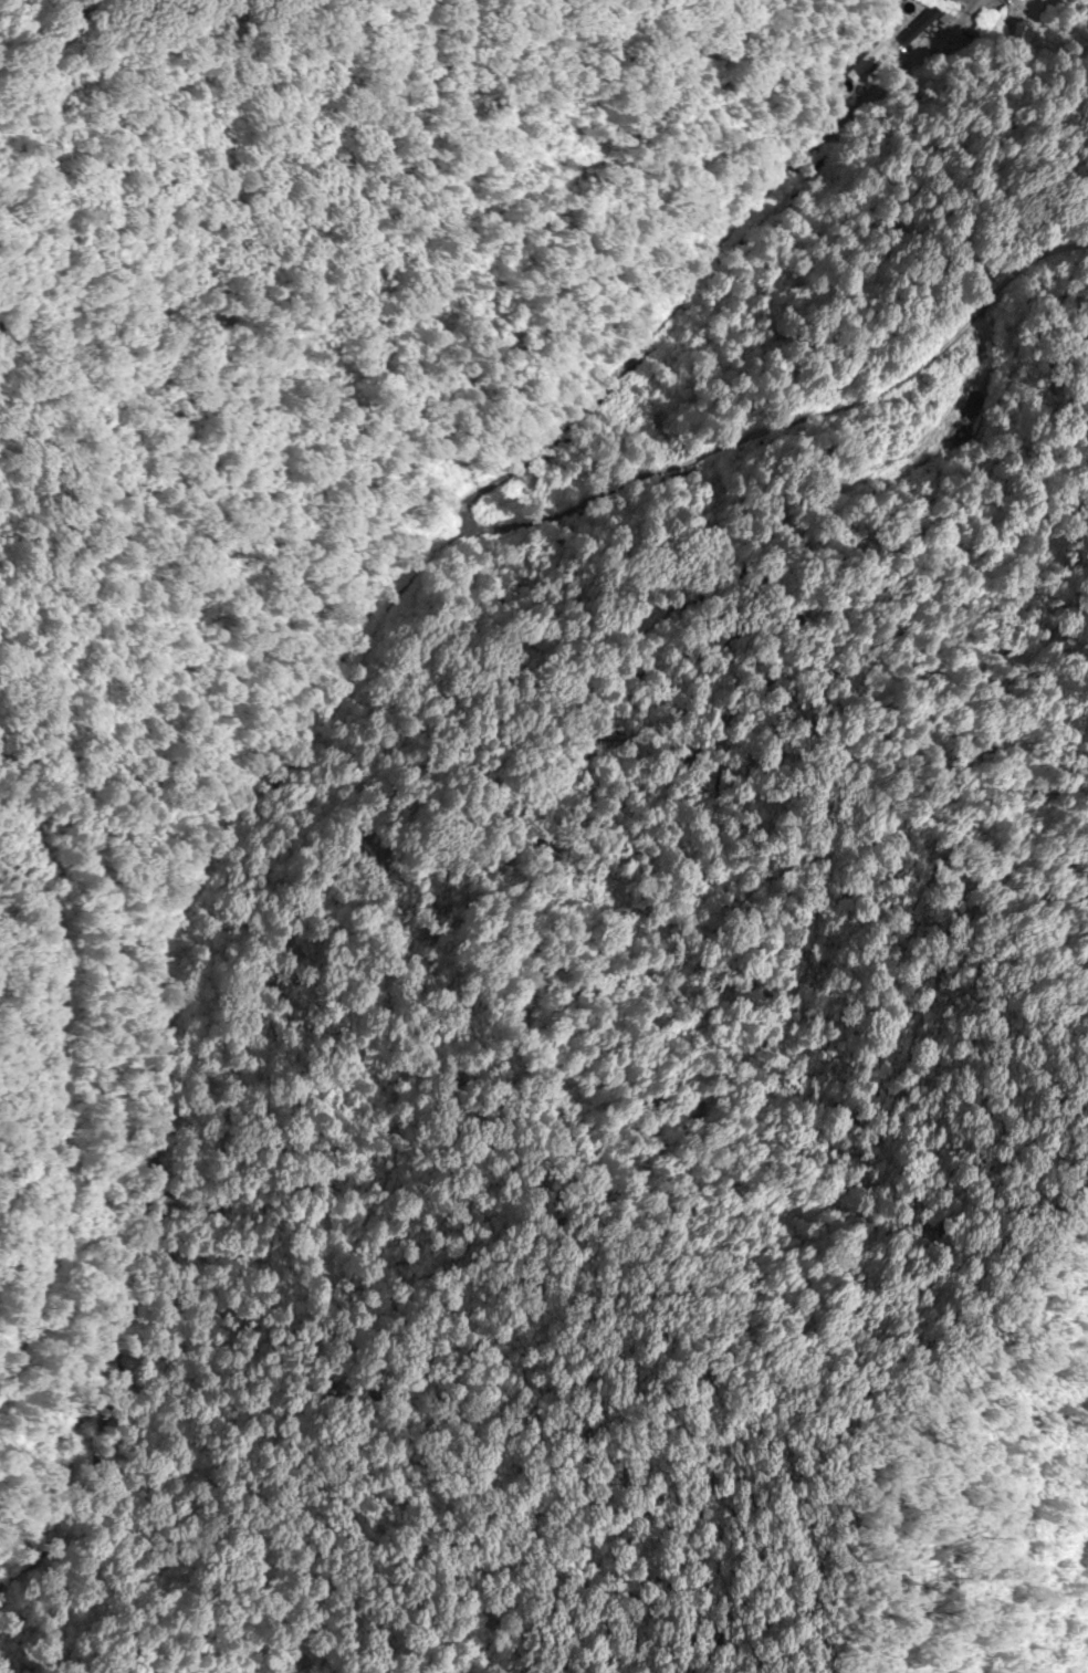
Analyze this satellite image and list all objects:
road: (839, 17)
road: (530, 372)

